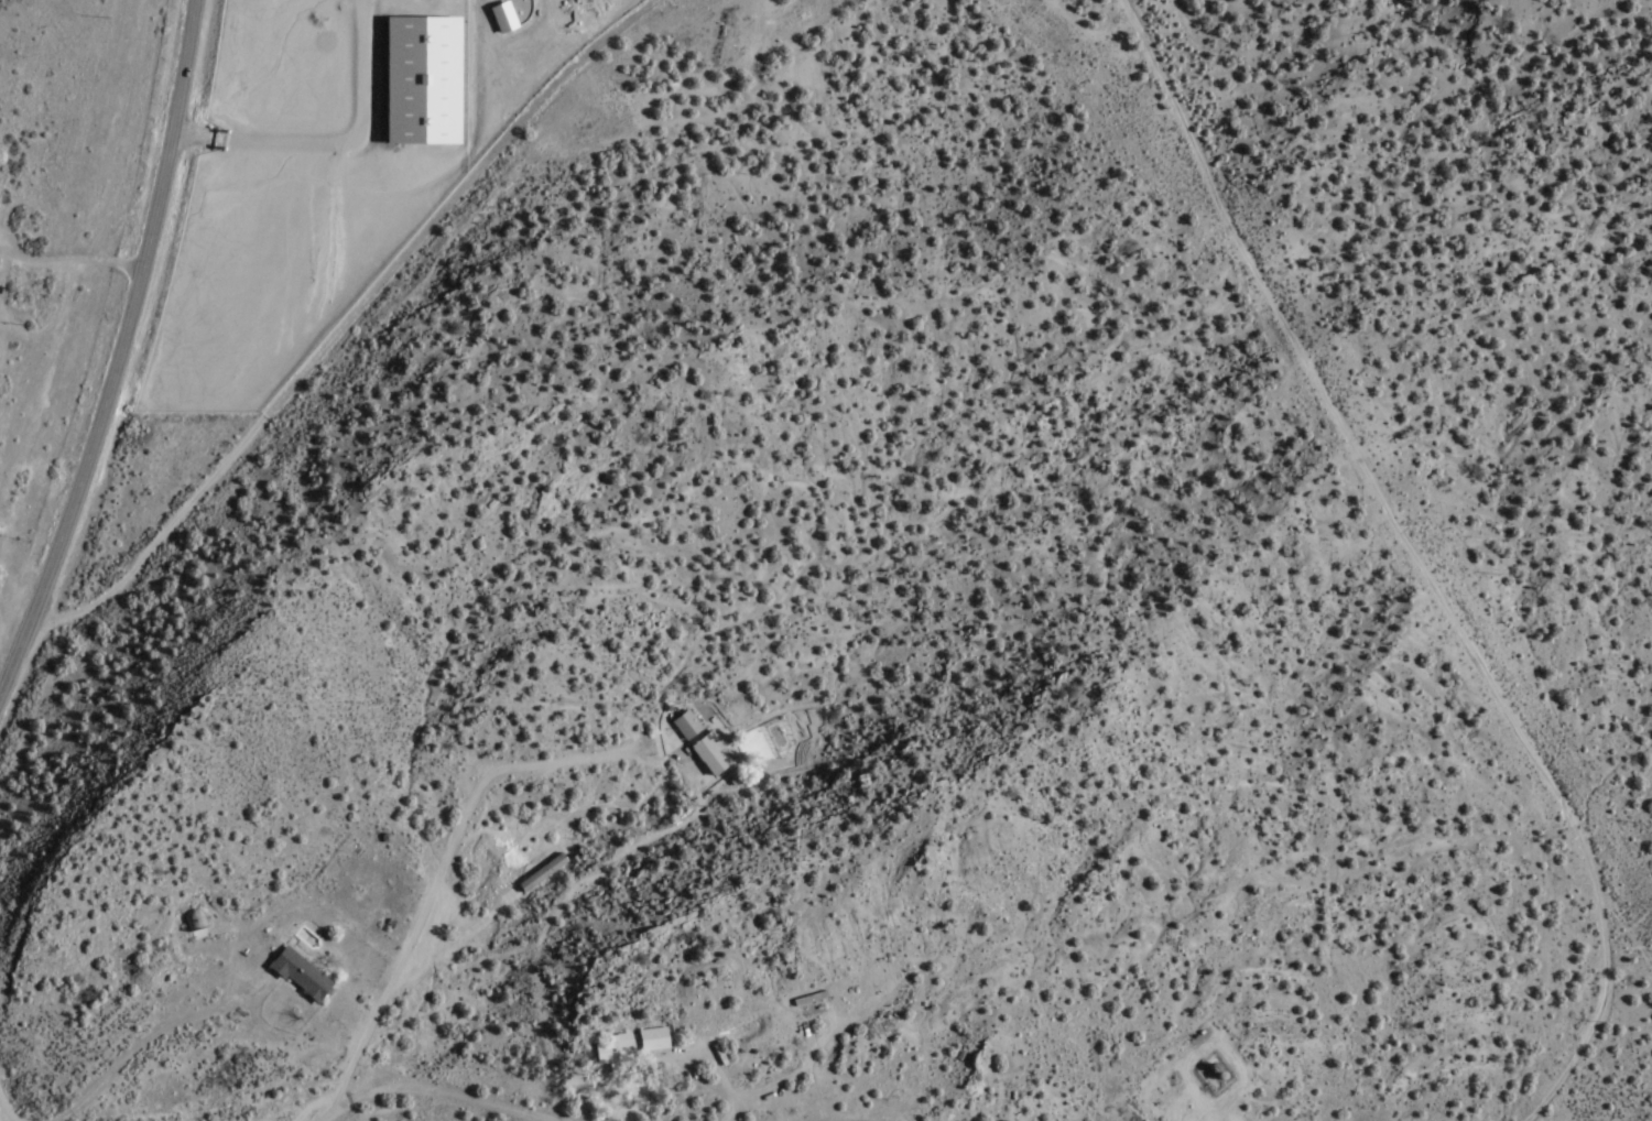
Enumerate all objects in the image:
road: (598, 42)
road: (118, 352)
road: (301, 378)
road: (1419, 563)
building: (688, 725)
building: (714, 753)
building: (543, 871)
building: (186, 921)
building: (302, 975)
building: (805, 998)
building: (653, 1038)
building: (617, 1052)
road: (425, 1084)
road: (10, 1112)

